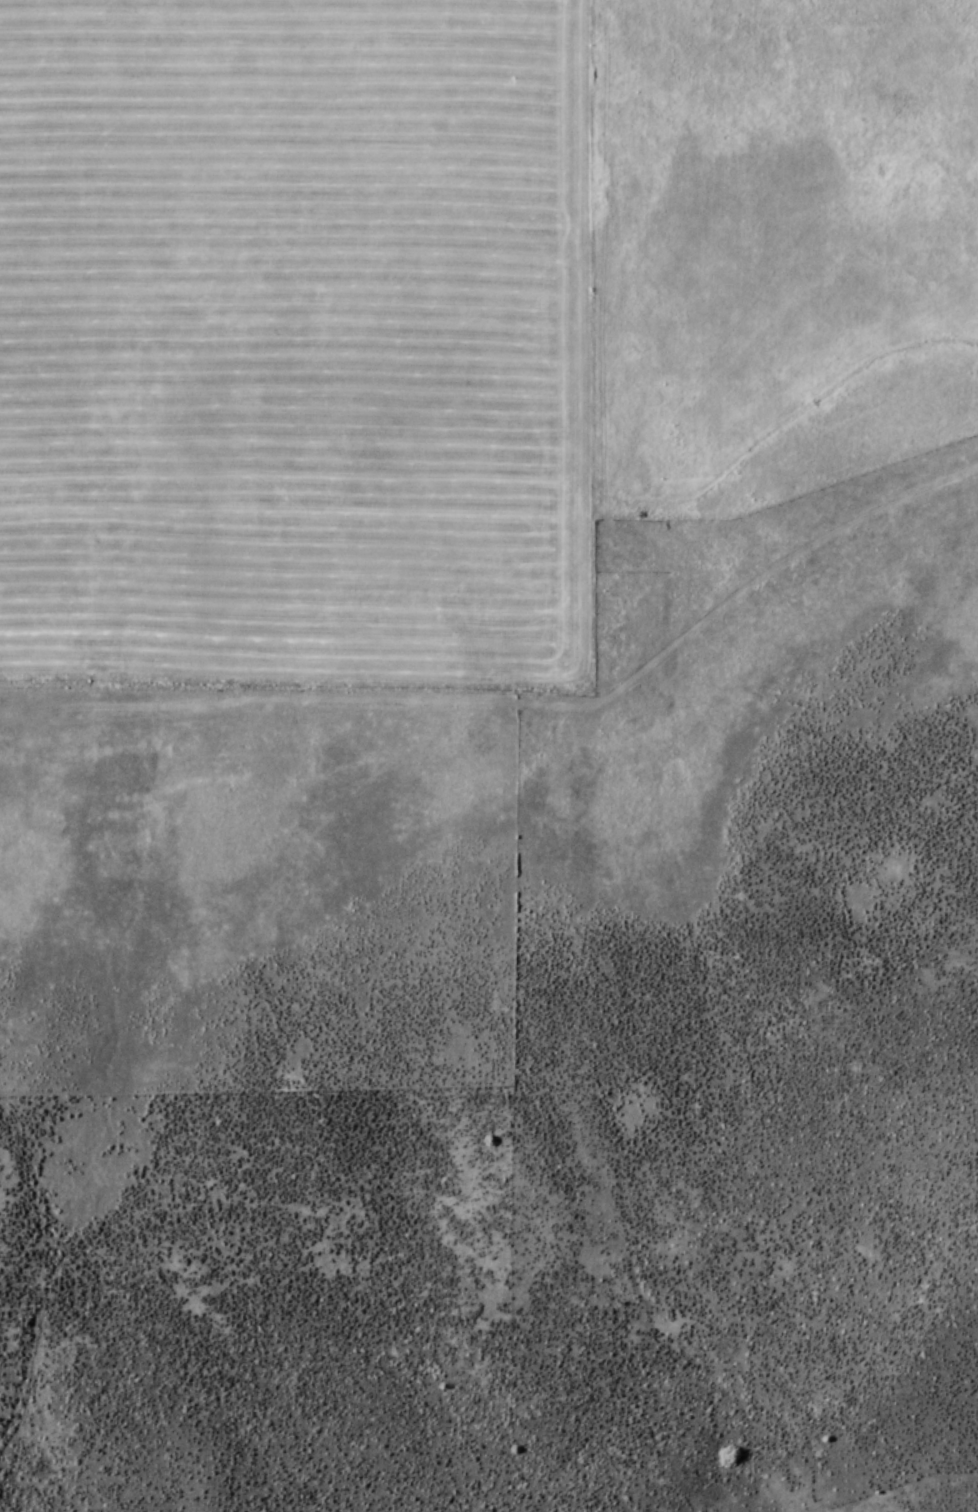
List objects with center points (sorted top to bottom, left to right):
road: (903, 1488)

